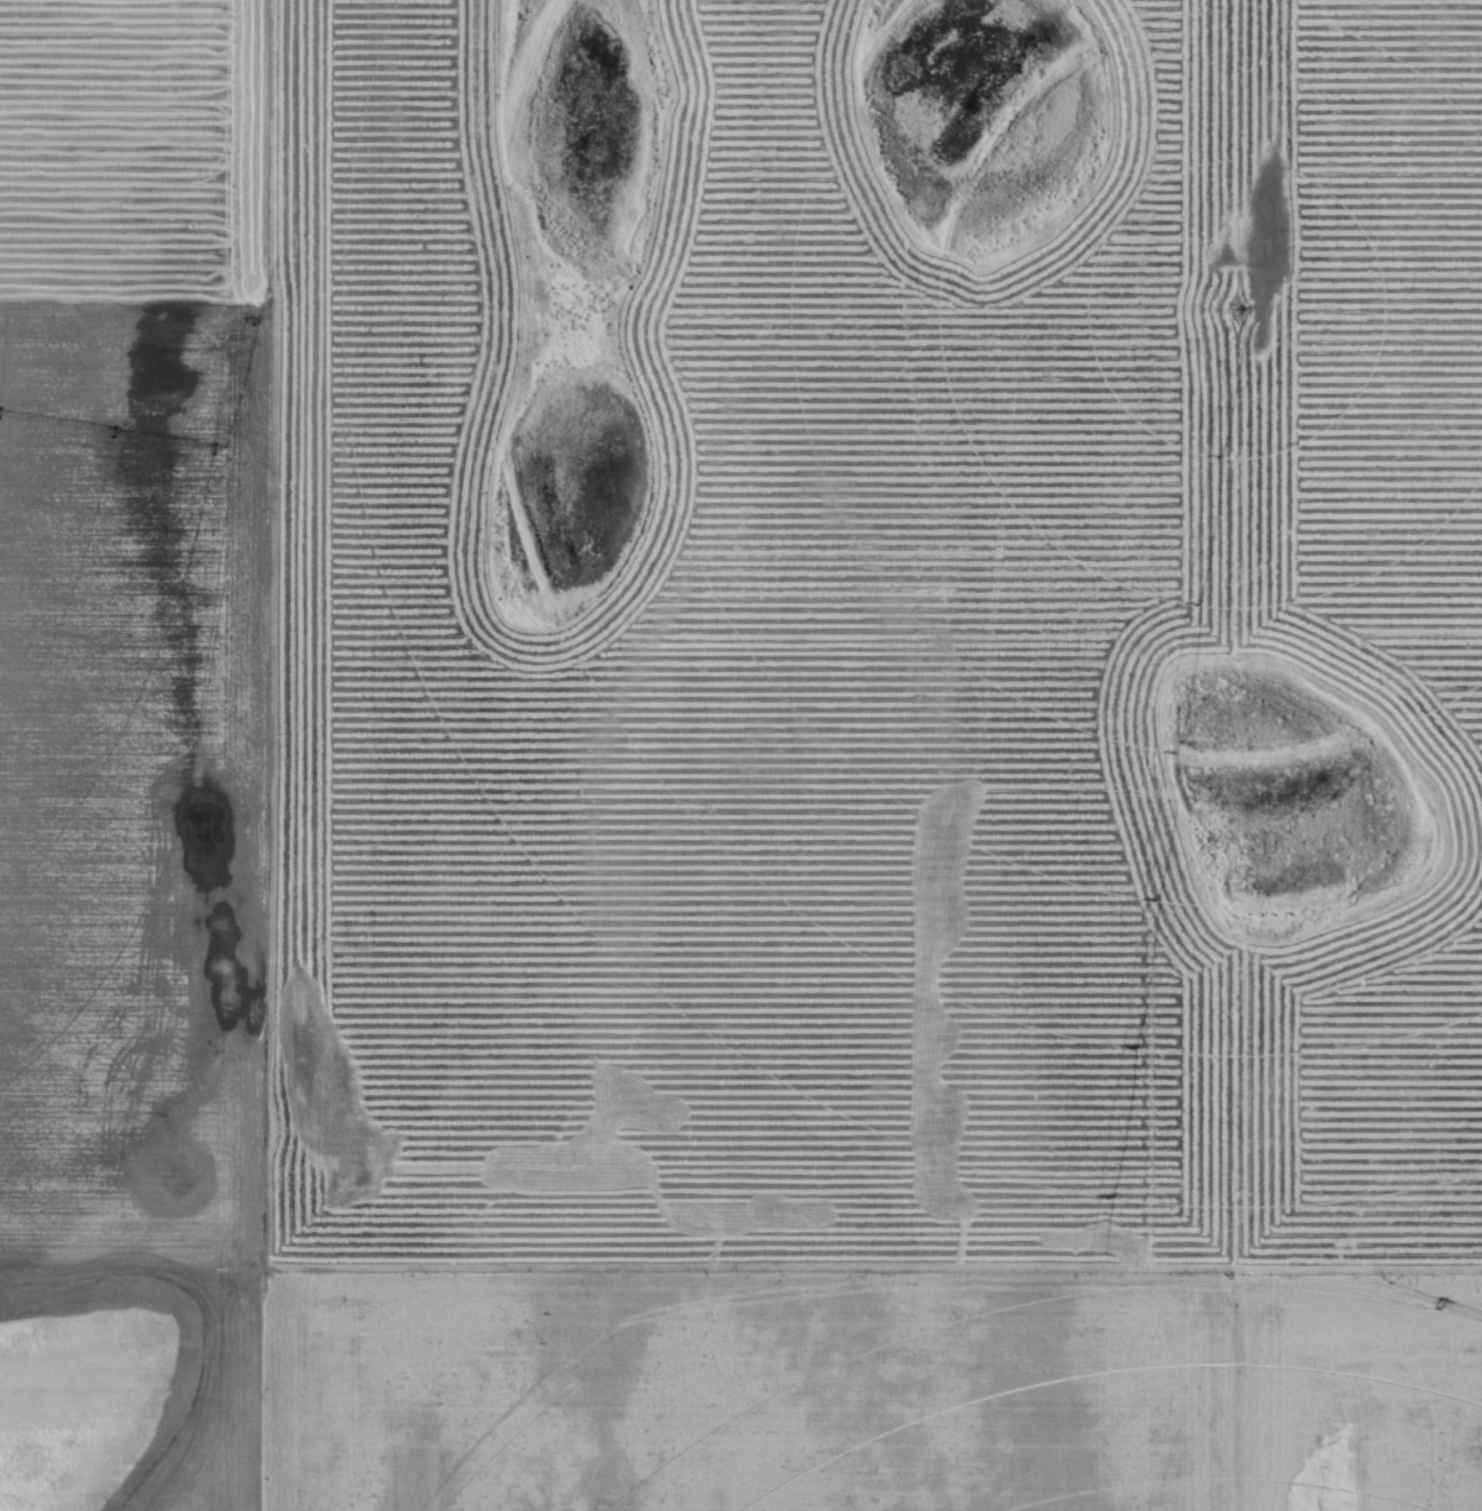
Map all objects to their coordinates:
building: (1202, 923)

